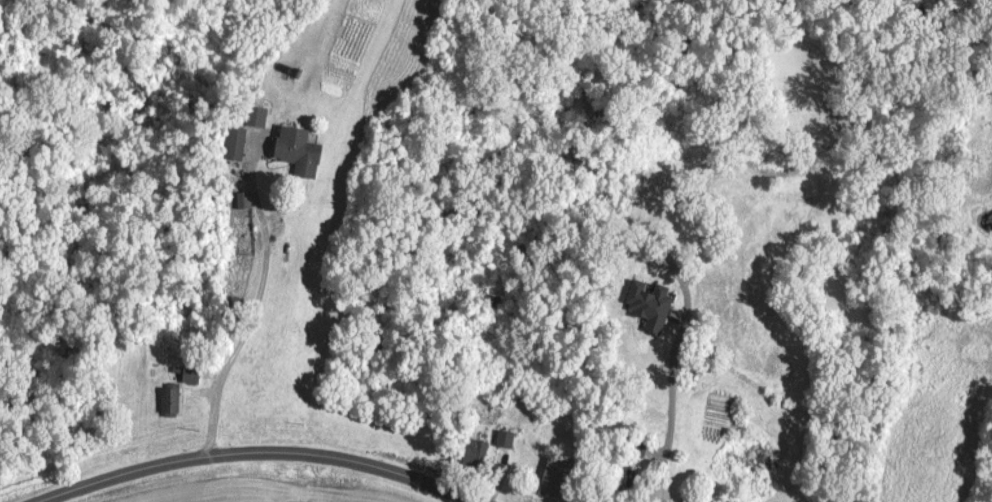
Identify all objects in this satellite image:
building: (258, 117)
building: (237, 144)
building: (301, 151)
road: (253, 303)
building: (193, 374)
building: (172, 399)
road: (666, 402)
building: (507, 439)
road: (248, 442)
building: (478, 453)
building: (557, 476)
building: (617, 487)

